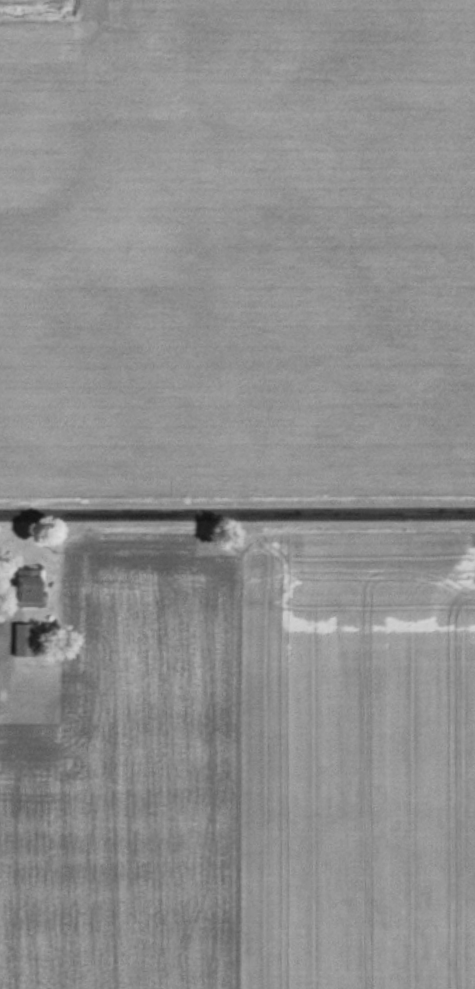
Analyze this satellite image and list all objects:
road: (237, 512)
building: (25, 587)
building: (21, 639)

